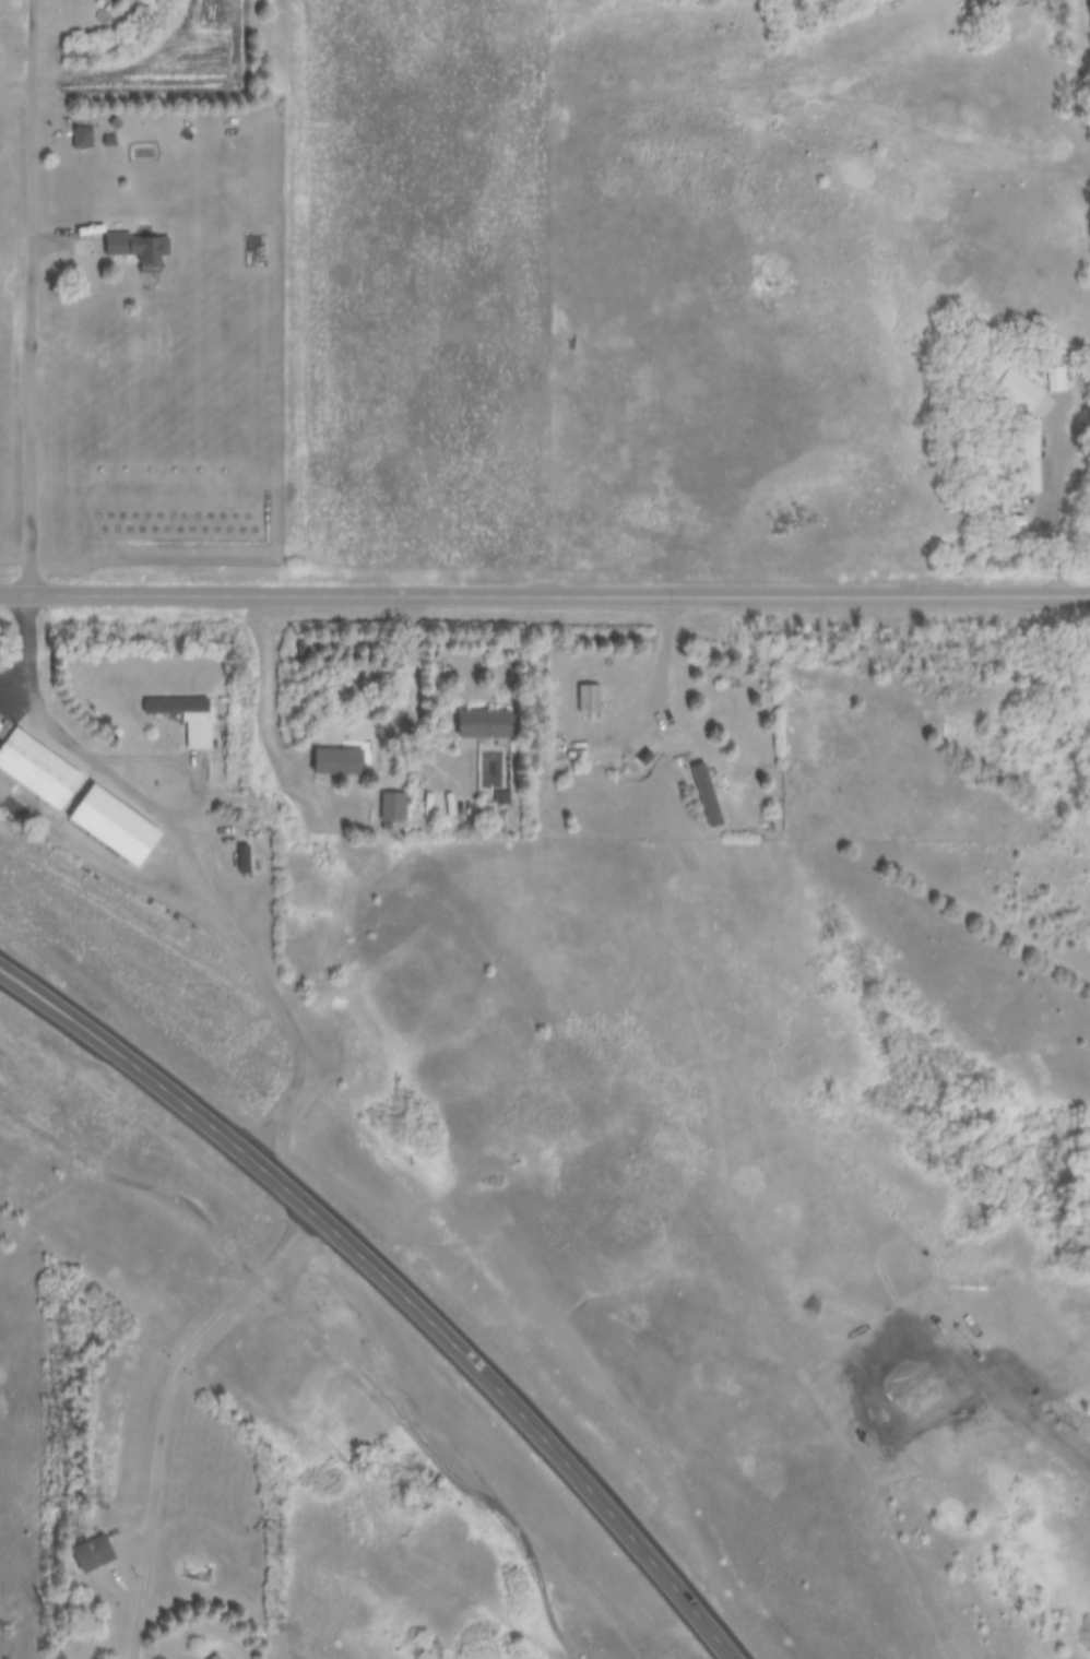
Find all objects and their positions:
building: (78, 139)
building: (135, 247)
road: (35, 296)
road: (544, 592)
road: (29, 640)
building: (299, 648)
road: (667, 663)
road: (413, 664)
building: (584, 702)
building: (188, 719)
building: (482, 723)
road: (182, 753)
building: (336, 760)
building: (38, 766)
building: (703, 795)
building: (117, 826)
road: (218, 901)
road: (400, 1282)
road: (164, 1406)
building: (92, 1554)
building: (55, 1656)
building: (218, 1657)

